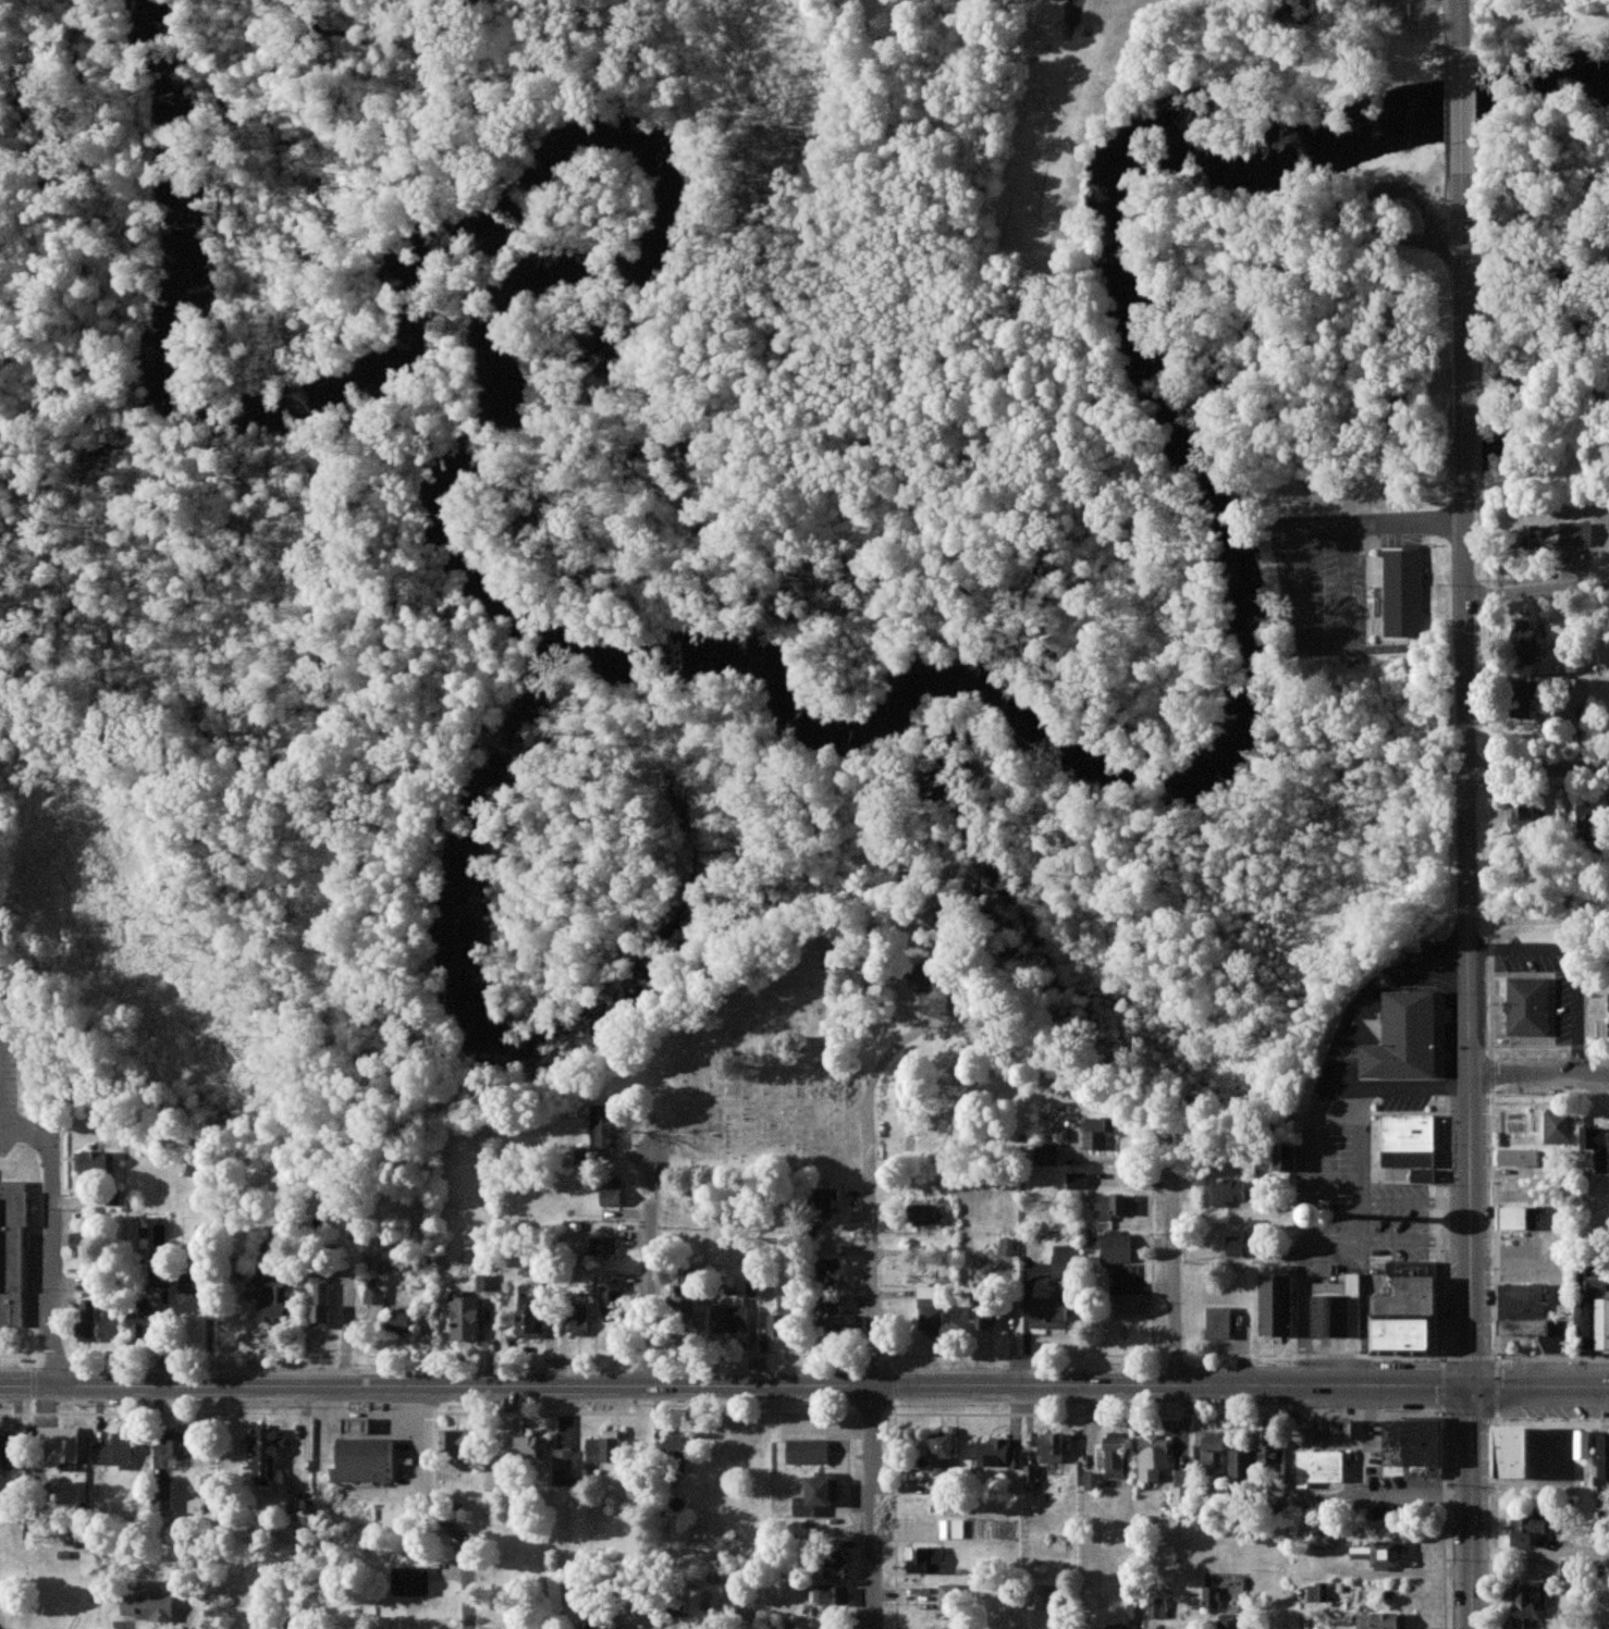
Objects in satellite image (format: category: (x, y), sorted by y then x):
building: (1059, 0)
road: (1461, 15)
road: (1462, 111)
building: (1556, 534)
building: (1403, 591)
road: (1536, 591)
building: (1526, 642)
river: (642, 654)
building: (1569, 665)
building: (1579, 692)
building: (1524, 699)
road: (1537, 768)
road: (1465, 788)
building: (1524, 815)
building: (1589, 819)
building: (924, 978)
building: (1528, 1007)
building: (1410, 1040)
road: (1537, 1075)
park: (759, 1099)
building: (1558, 1127)
road: (26, 1130)
building: (601, 1133)
building: (1101, 1133)
building: (1409, 1141)
building: (1597, 1146)
building: (1048, 1155)
building: (1521, 1158)
building: (1288, 1159)
building: (95, 1161)
building: (1424, 1175)
building: (1078, 1181)
building: (1230, 1192)
building: (612, 1193)
road: (869, 1193)
building: (824, 1202)
building: (1115, 1206)
building: (924, 1214)
water tower: (1324, 1215)
building: (1331, 1219)
building: (1519, 1219)
building: (133, 1234)
building: (603, 1245)
building: (1007, 1246)
building: (1114, 1246)
building: (1241, 1246)
building: (11, 1250)
road: (52, 1260)
road: (649, 1262)
building: (1065, 1262)
building: (831, 1272)
road: (1171, 1274)
building: (191, 1282)
building: (270, 1293)
building: (374, 1294)
building: (611, 1299)
building: (321, 1300)
building: (1279, 1306)
building: (1337, 1308)
building: (932, 1309)
building: (1409, 1309)
building: (1524, 1310)
building: (1051, 1313)
building: (984, 1315)
building: (830, 1316)
building: (139, 1318)
building: (465, 1318)
building: (578, 1318)
building: (732, 1318)
building: (86, 1320)
building: (403, 1322)
building: (530, 1323)
building: (781, 1323)
building: (1220, 1323)
building: (1584, 1324)
building: (1602, 1324)
road: (349, 1333)
road: (734, 1387)
road: (1539, 1387)
building: (363, 1426)
building: (1335, 1429)
building: (454, 1442)
building: (175, 1444)
building: (1413, 1445)
building: (1582, 1445)
building: (59, 1446)
building: (676, 1446)
building: (527, 1447)
building: (605, 1447)
building: (1052, 1447)
building: (4, 1448)
building: (115, 1452)
building: (809, 1452)
building: (1514, 1453)
building: (996, 1454)
building: (1270, 1454)
building: (1116, 1455)
building: (1214, 1455)
building: (262, 1456)
building: (1153, 1457)
building: (1604, 1460)
building: (368, 1461)
building: (942, 1464)
building: (563, 1467)
building: (1241, 1467)
building: (1322, 1467)
building: (1031, 1472)
building: (163, 1496)
building: (818, 1496)
building: (1180, 1496)
road: (467, 1508)
road: (873, 1508)
road: (1471, 1508)
building: (1528, 1527)
building: (953, 1529)
building: (1325, 1540)
road: (1540, 1553)
building: (1380, 1554)
building: (925, 1559)
building: (835, 1571)
building: (410, 1581)
building: (1318, 1593)
building: (948, 1594)
building: (831, 1595)
building: (1042, 1597)
building: (1211, 1597)
building: (1526, 1604)
building: (148, 1607)
building: (1135, 1609)
building: (1229, 1621)
building: (1381, 1621)
building: (1113, 1626)
building: (799, 1627)

